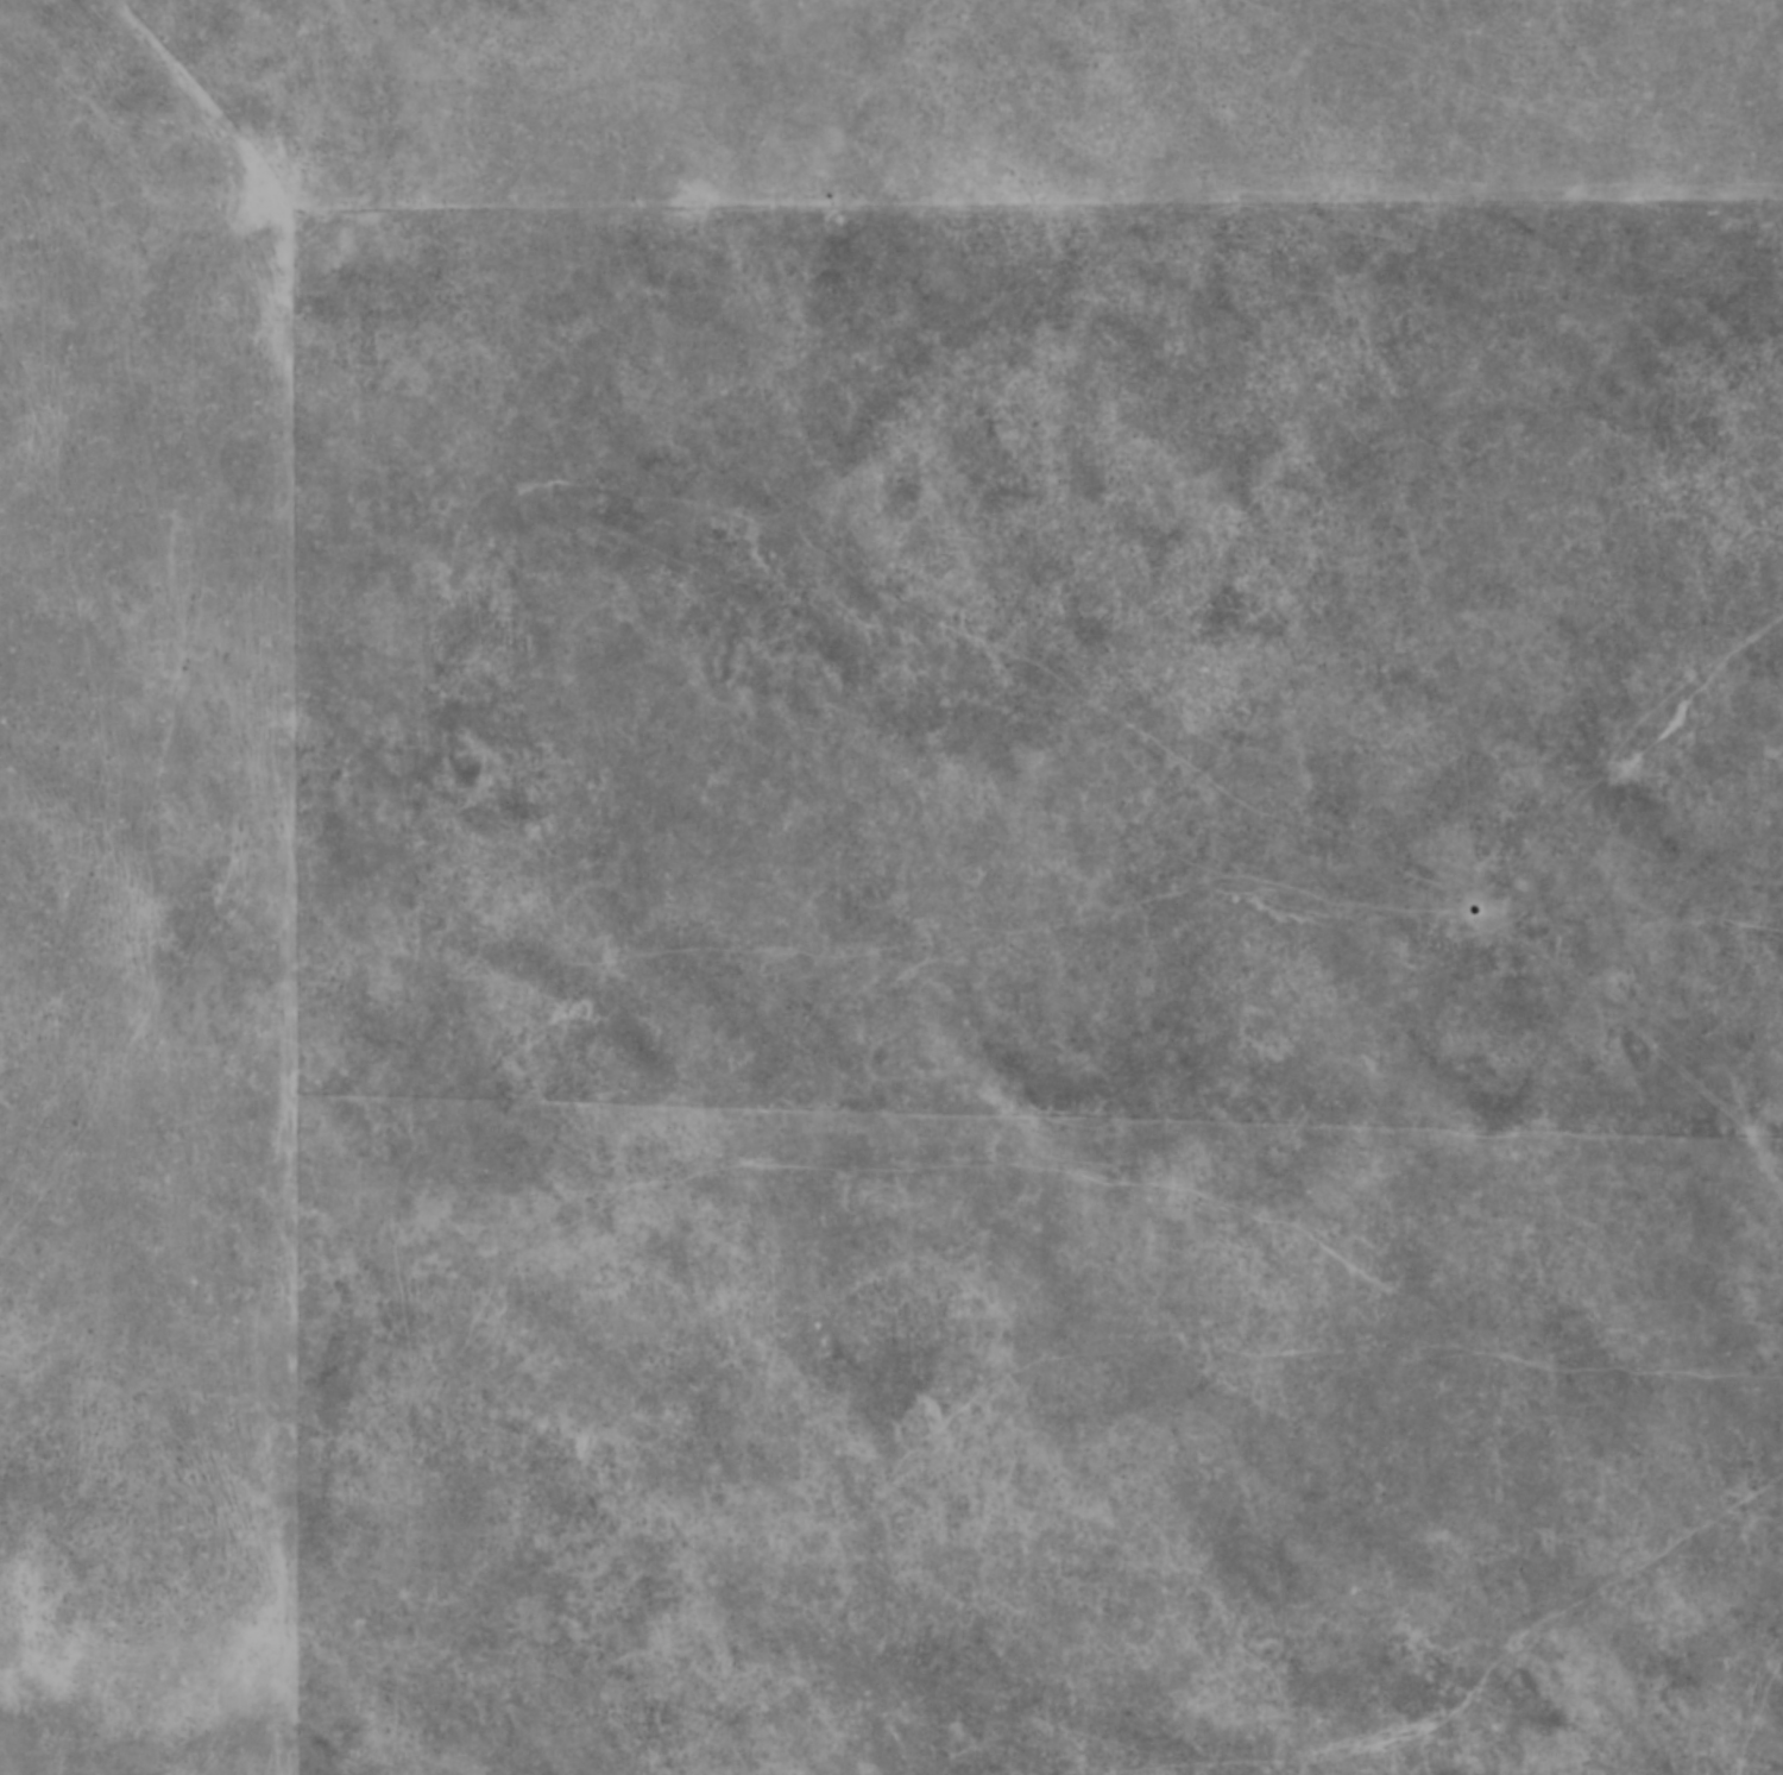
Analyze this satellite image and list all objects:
road: (1650, 1047)

